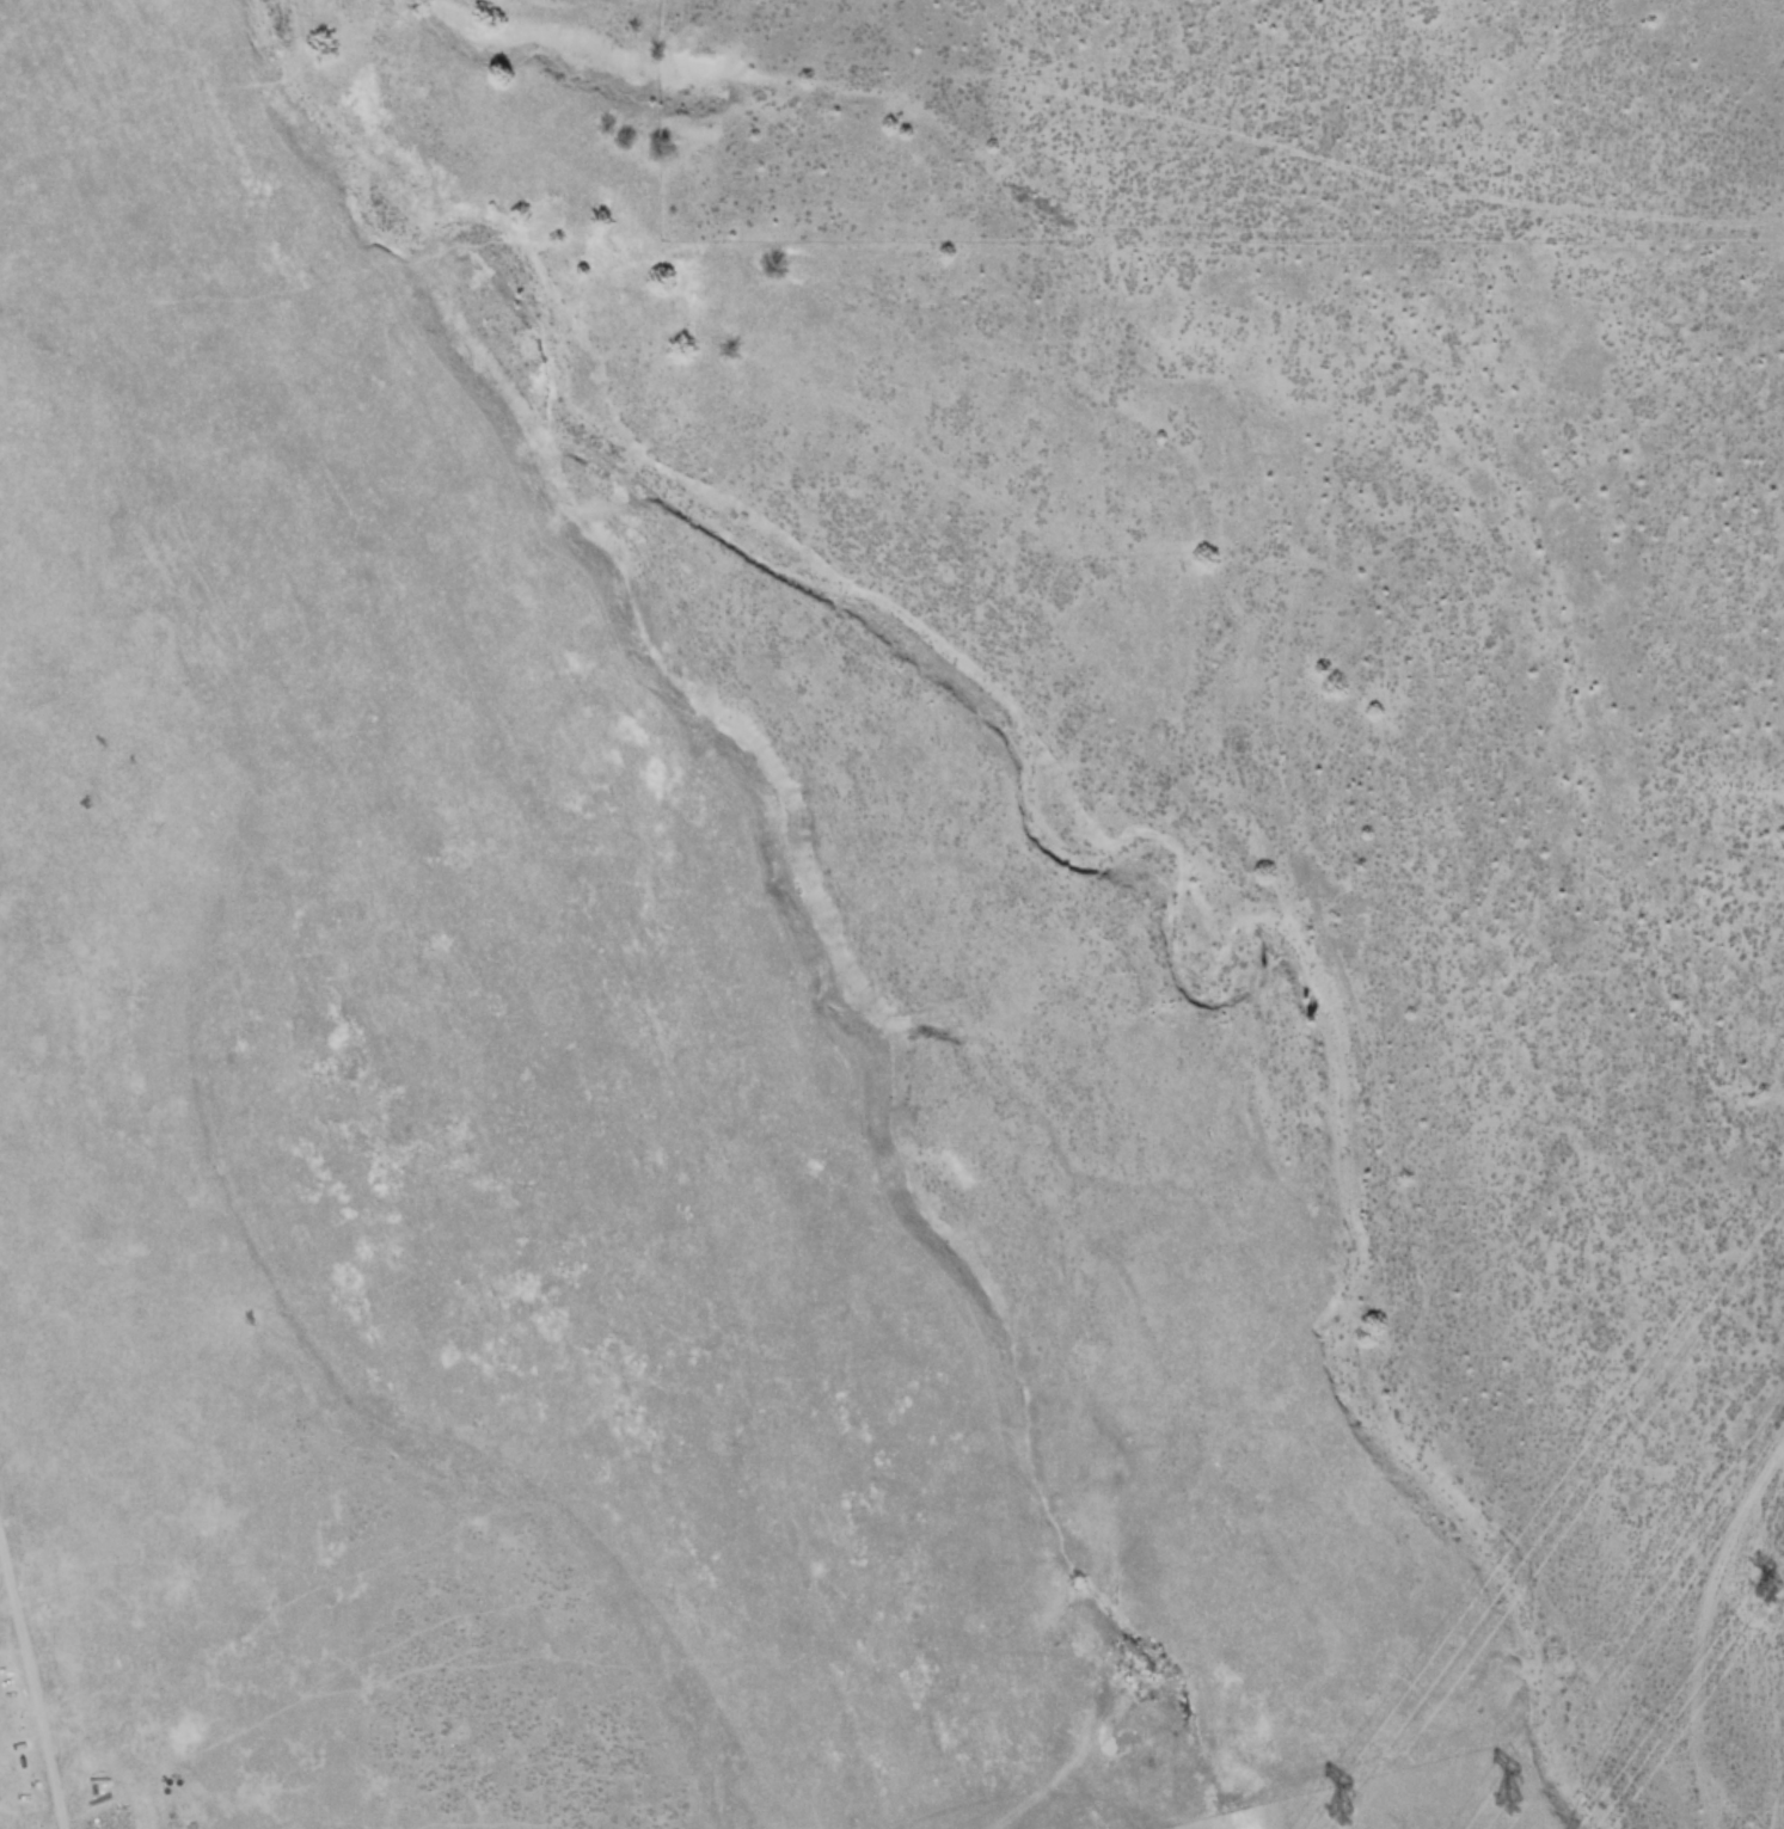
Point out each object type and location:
power tower: (1774, 1594)
power tower: (1521, 1792)
power tower: (1337, 1805)

